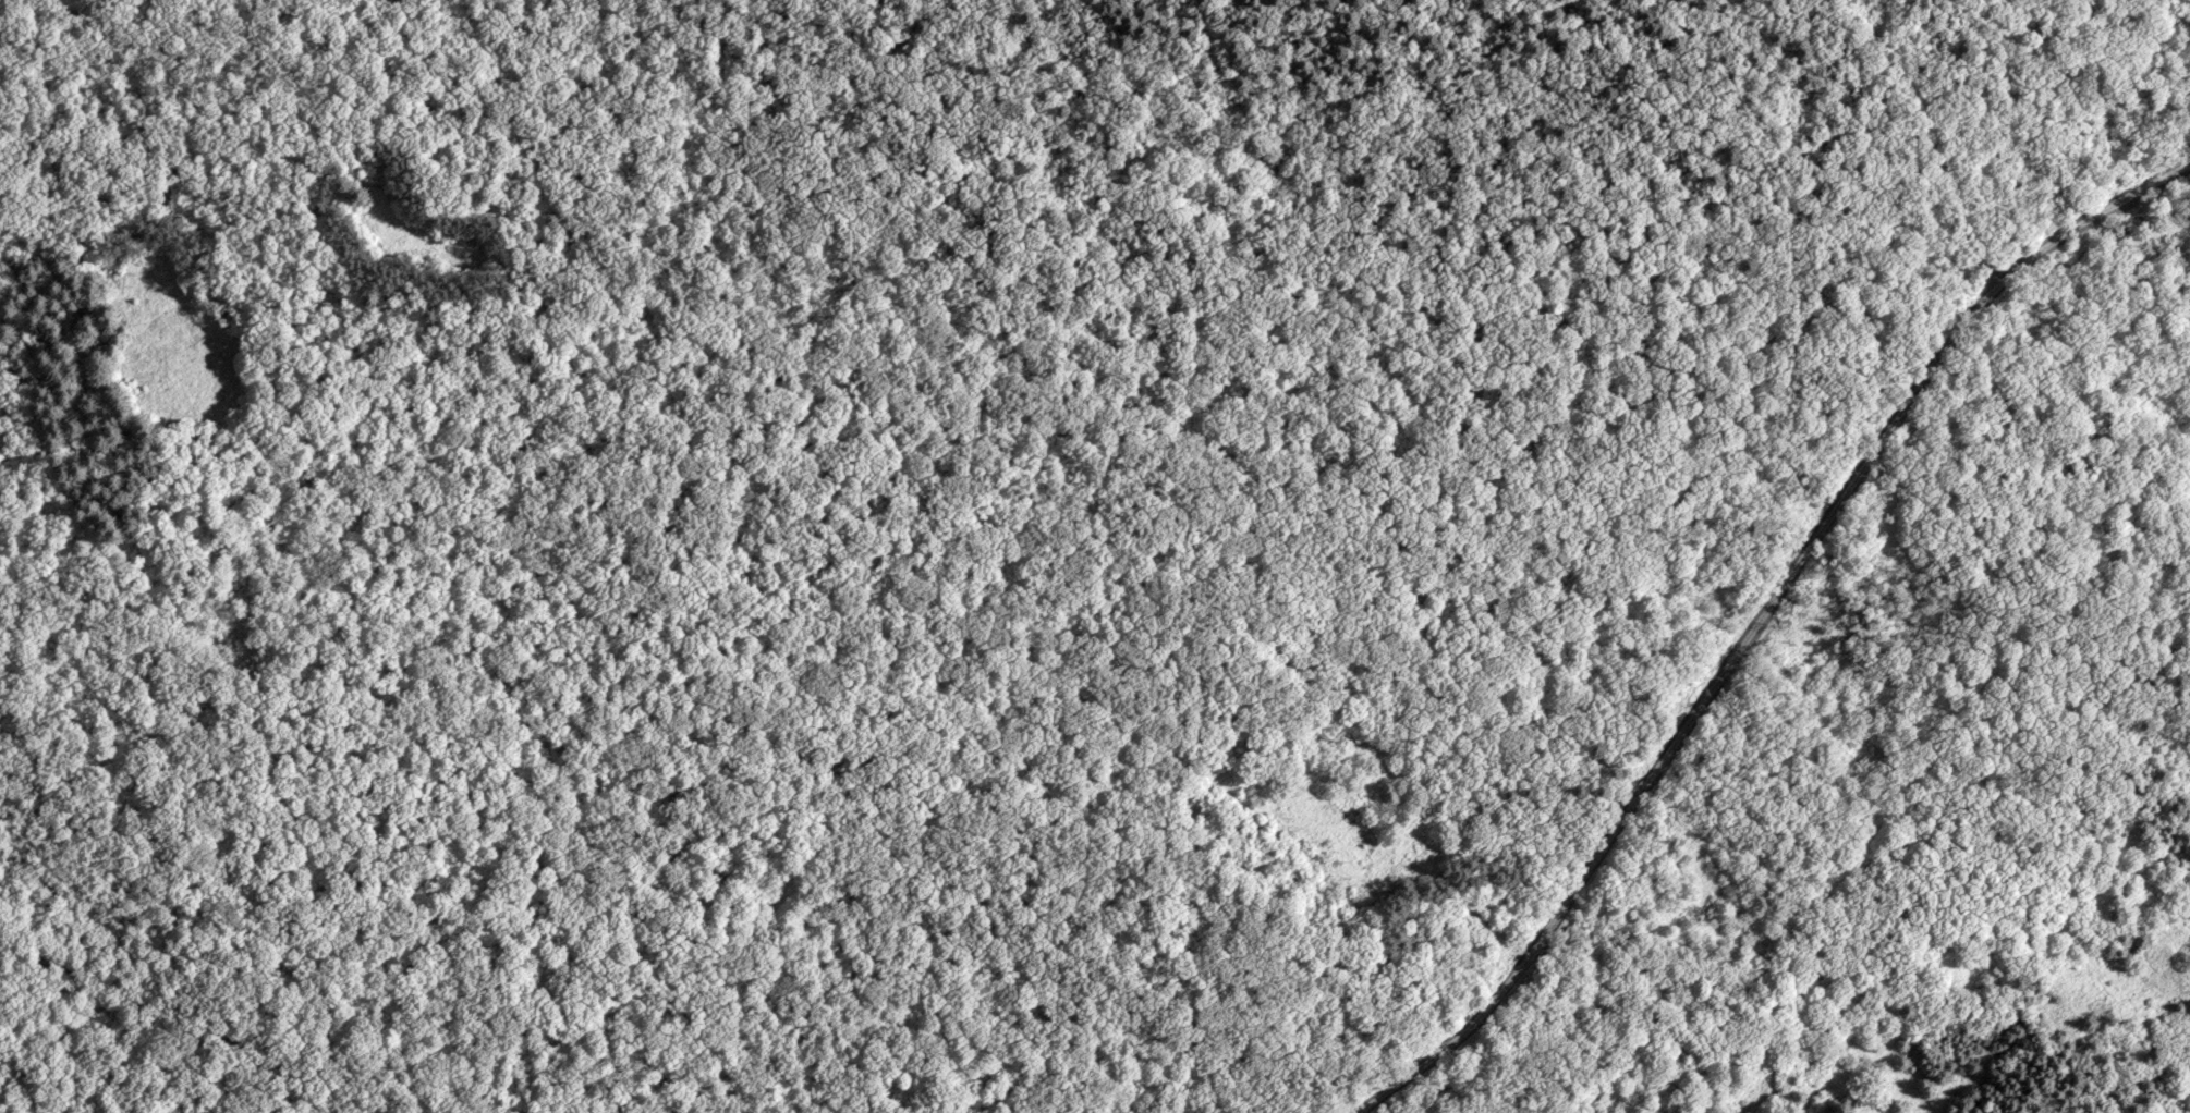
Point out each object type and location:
road: (2072, 84)
road: (1933, 139)
road: (2115, 206)
road: (1711, 692)
road: (650, 1047)

